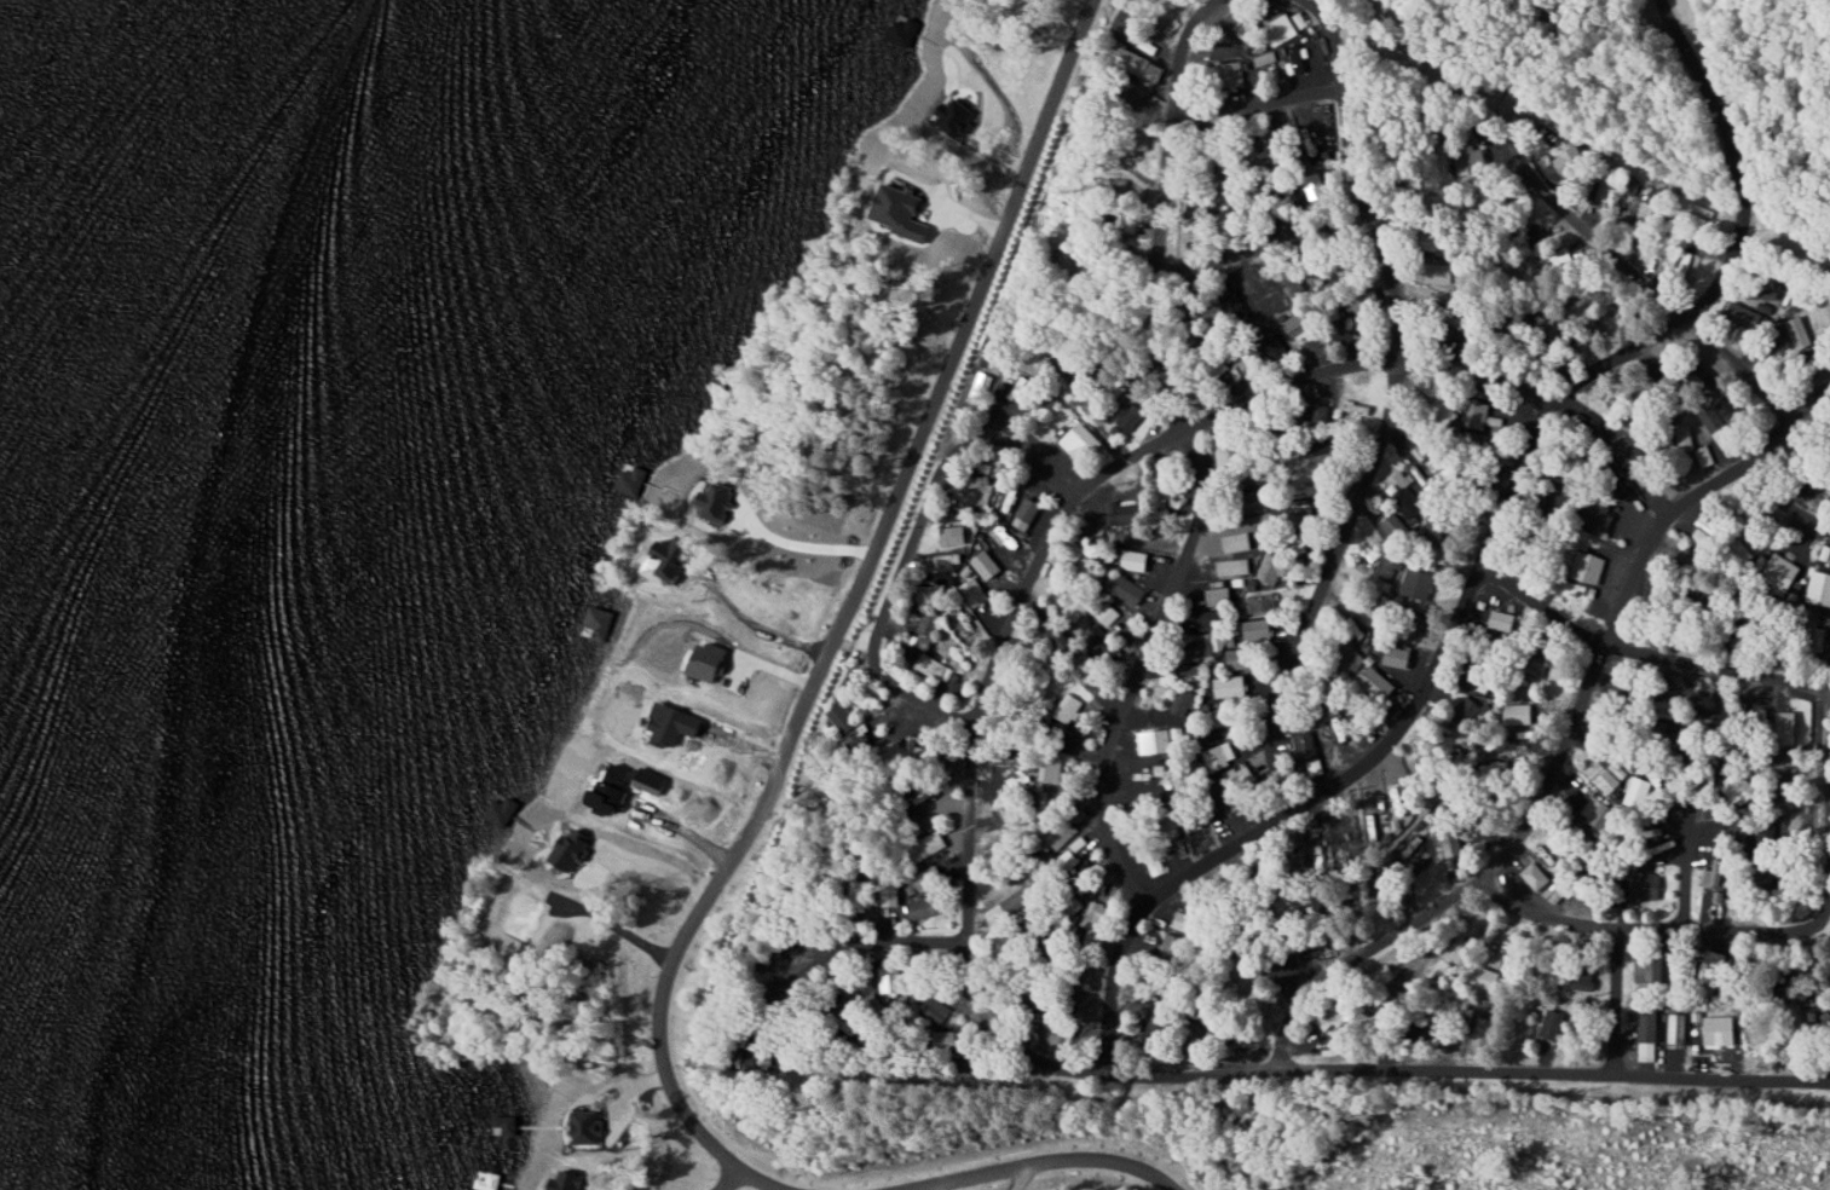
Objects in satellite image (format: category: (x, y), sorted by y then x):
river: (4, 22)
building: (1286, 27)
building: (1305, 57)
building: (1264, 59)
building: (1138, 67)
building: (1234, 75)
road: (1255, 104)
building: (1568, 161)
road: (1350, 180)
building: (1314, 181)
building: (1234, 204)
road: (1158, 213)
building: (1644, 216)
road: (1254, 245)
building: (1690, 261)
road: (1641, 279)
building: (1753, 317)
building: (1299, 325)
building: (1797, 333)
road: (1812, 399)
building: (1728, 408)
building: (1715, 427)
building: (1329, 451)
building: (1231, 452)
building: (1703, 457)
road: (1777, 498)
building: (716, 499)
building: (1258, 499)
building: (1408, 503)
building: (1028, 508)
building: (1314, 512)
building: (1603, 515)
building: (1393, 525)
building: (1703, 537)
building: (1237, 542)
road: (1482, 558)
building: (1136, 560)
building: (1385, 564)
building: (1232, 566)
building: (1591, 566)
building: (1272, 567)
building: (1784, 572)
building: (1418, 582)
building: (1819, 587)
building: (1128, 589)
road: (1322, 589)
building: (934, 591)
building: (974, 591)
building: (1218, 594)
building: (1262, 601)
building: (1502, 619)
road: (836, 628)
road: (920, 628)
building: (1257, 628)
road: (1643, 652)
building: (1242, 658)
building: (709, 660)
building: (931, 665)
road: (1137, 669)
building: (1378, 682)
building: (1067, 709)
building: (1800, 709)
building: (1470, 712)
building: (841, 714)
building: (1517, 714)
building: (1789, 724)
building: (1159, 739)
building: (1317, 740)
building: (1219, 755)
road: (1555, 764)
building: (1269, 773)
building: (1609, 776)
building: (1738, 786)
building: (1636, 791)
building: (1407, 792)
road: (1686, 796)
building: (1595, 813)
building: (1738, 827)
building: (572, 845)
building: (1142, 849)
building: (1451, 849)
building: (1063, 860)
building: (1715, 872)
building: (1534, 876)
building: (1647, 885)
building: (1011, 905)
building: (923, 907)
building: (1096, 914)
building: (1188, 920)
road: (1756, 922)
road: (966, 926)
building: (1172, 945)
road: (878, 953)
building: (1649, 970)
building: (1673, 974)
building: (1583, 983)
road: (1611, 1003)
building: (1493, 1011)
building: (1329, 1016)
building: (1818, 1017)
building: (1553, 1024)
building: (1676, 1028)
building: (1485, 1030)
building: (1647, 1036)
building: (507, 1123)
road: (1031, 1162)

